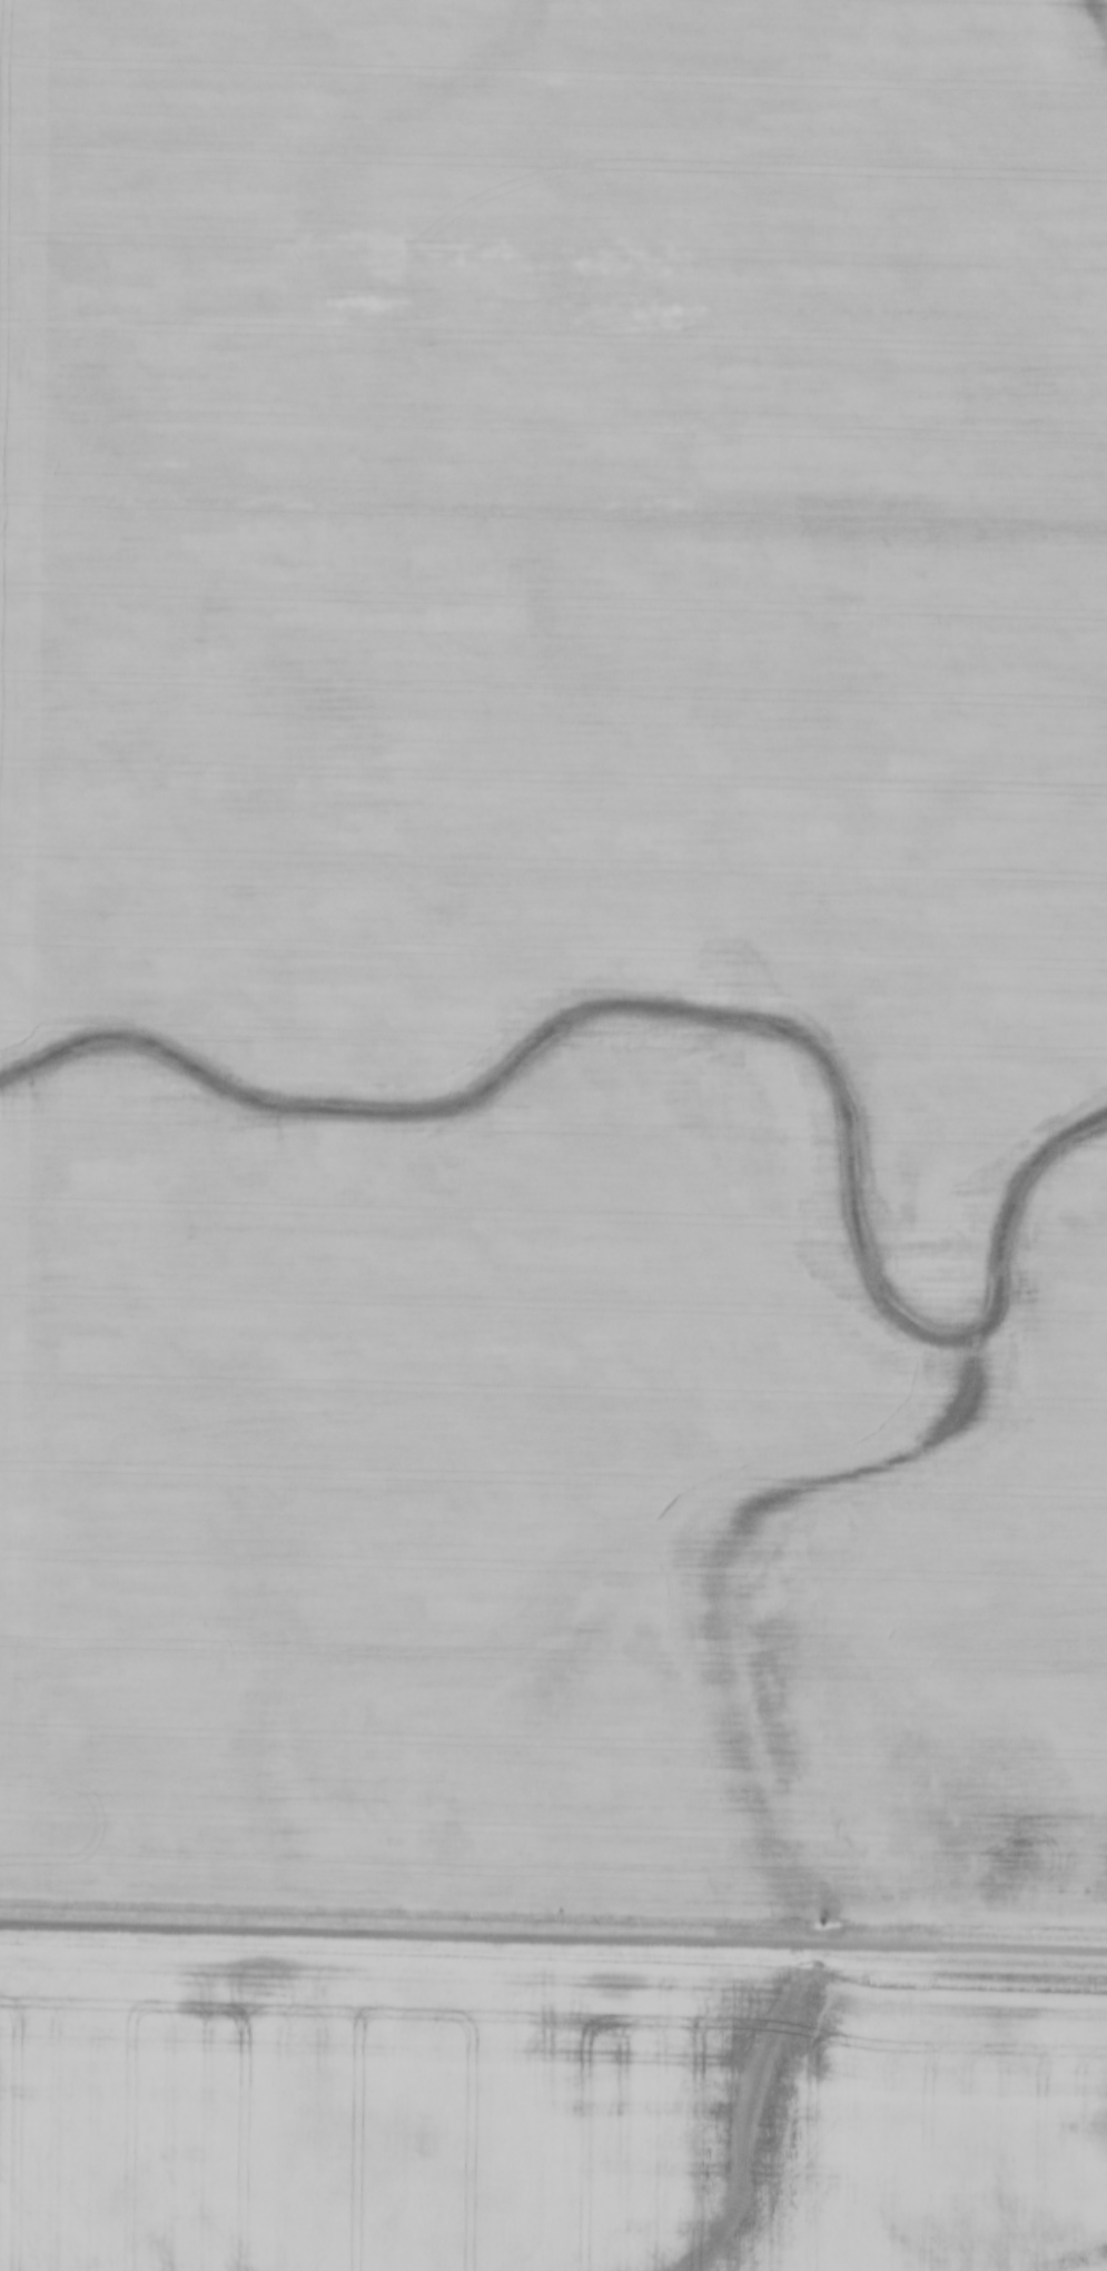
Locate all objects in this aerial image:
road: (553, 1937)

